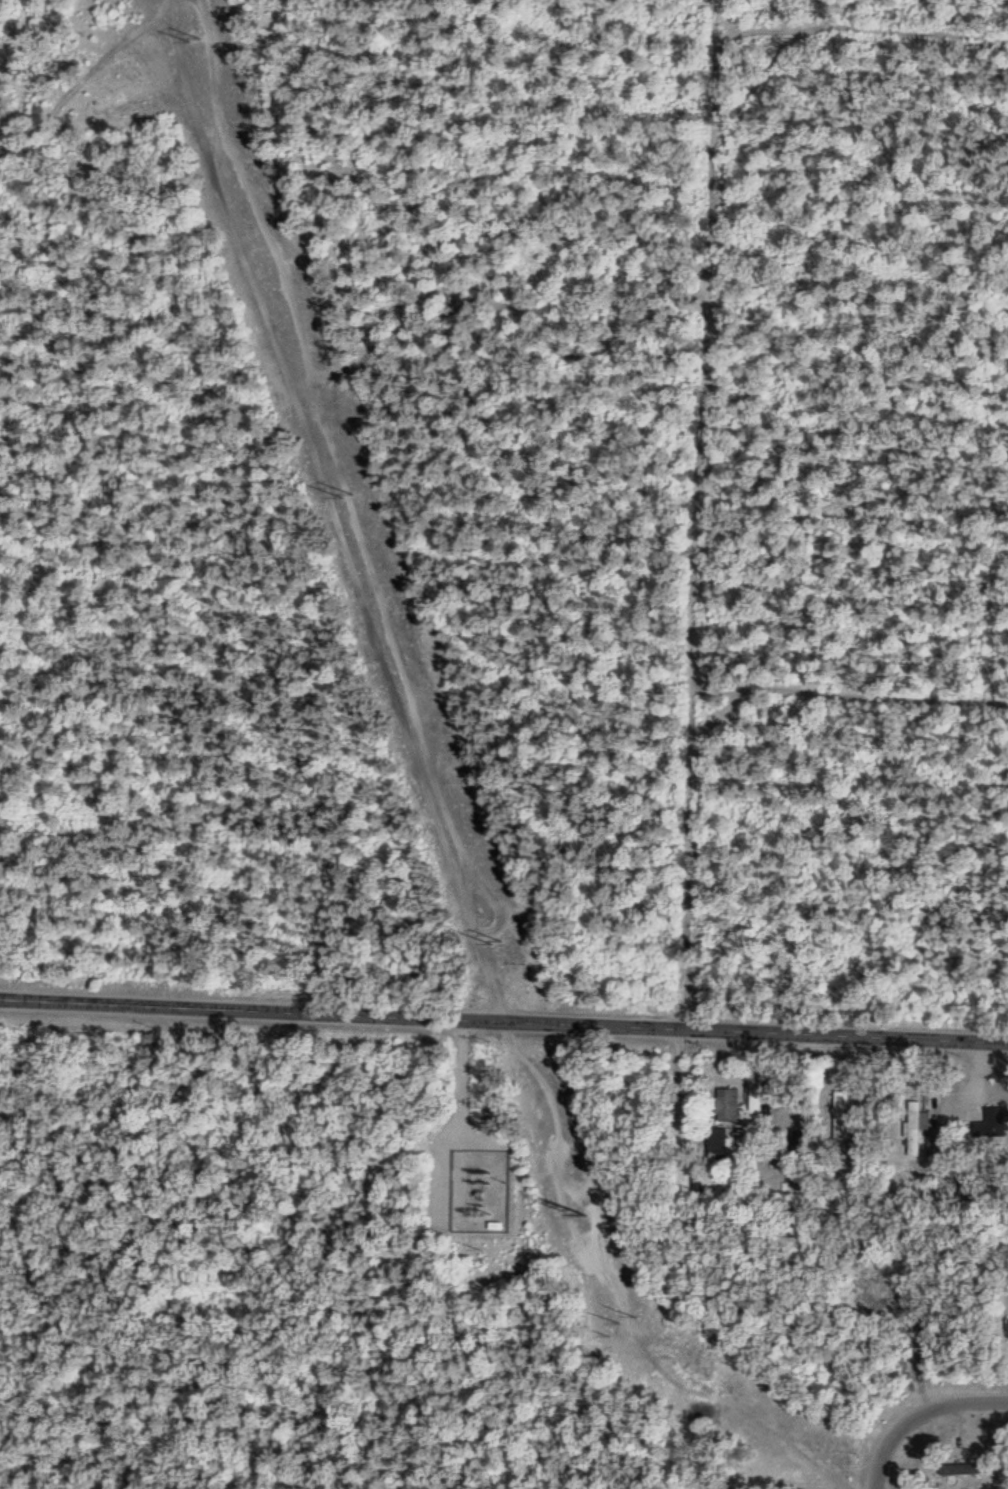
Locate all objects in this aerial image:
road: (882, 30)
power tower: (198, 36)
power tower: (349, 494)
power tower: (500, 945)
road: (503, 1021)
road: (458, 1079)
building: (725, 1108)
building: (757, 1112)
building: (844, 1118)
building: (992, 1126)
building: (922, 1136)
building: (719, 1144)
power substation: (483, 1187)
power tower: (589, 1214)
road: (685, 1259)
power tower: (628, 1318)
road: (920, 1418)
building: (960, 1472)

